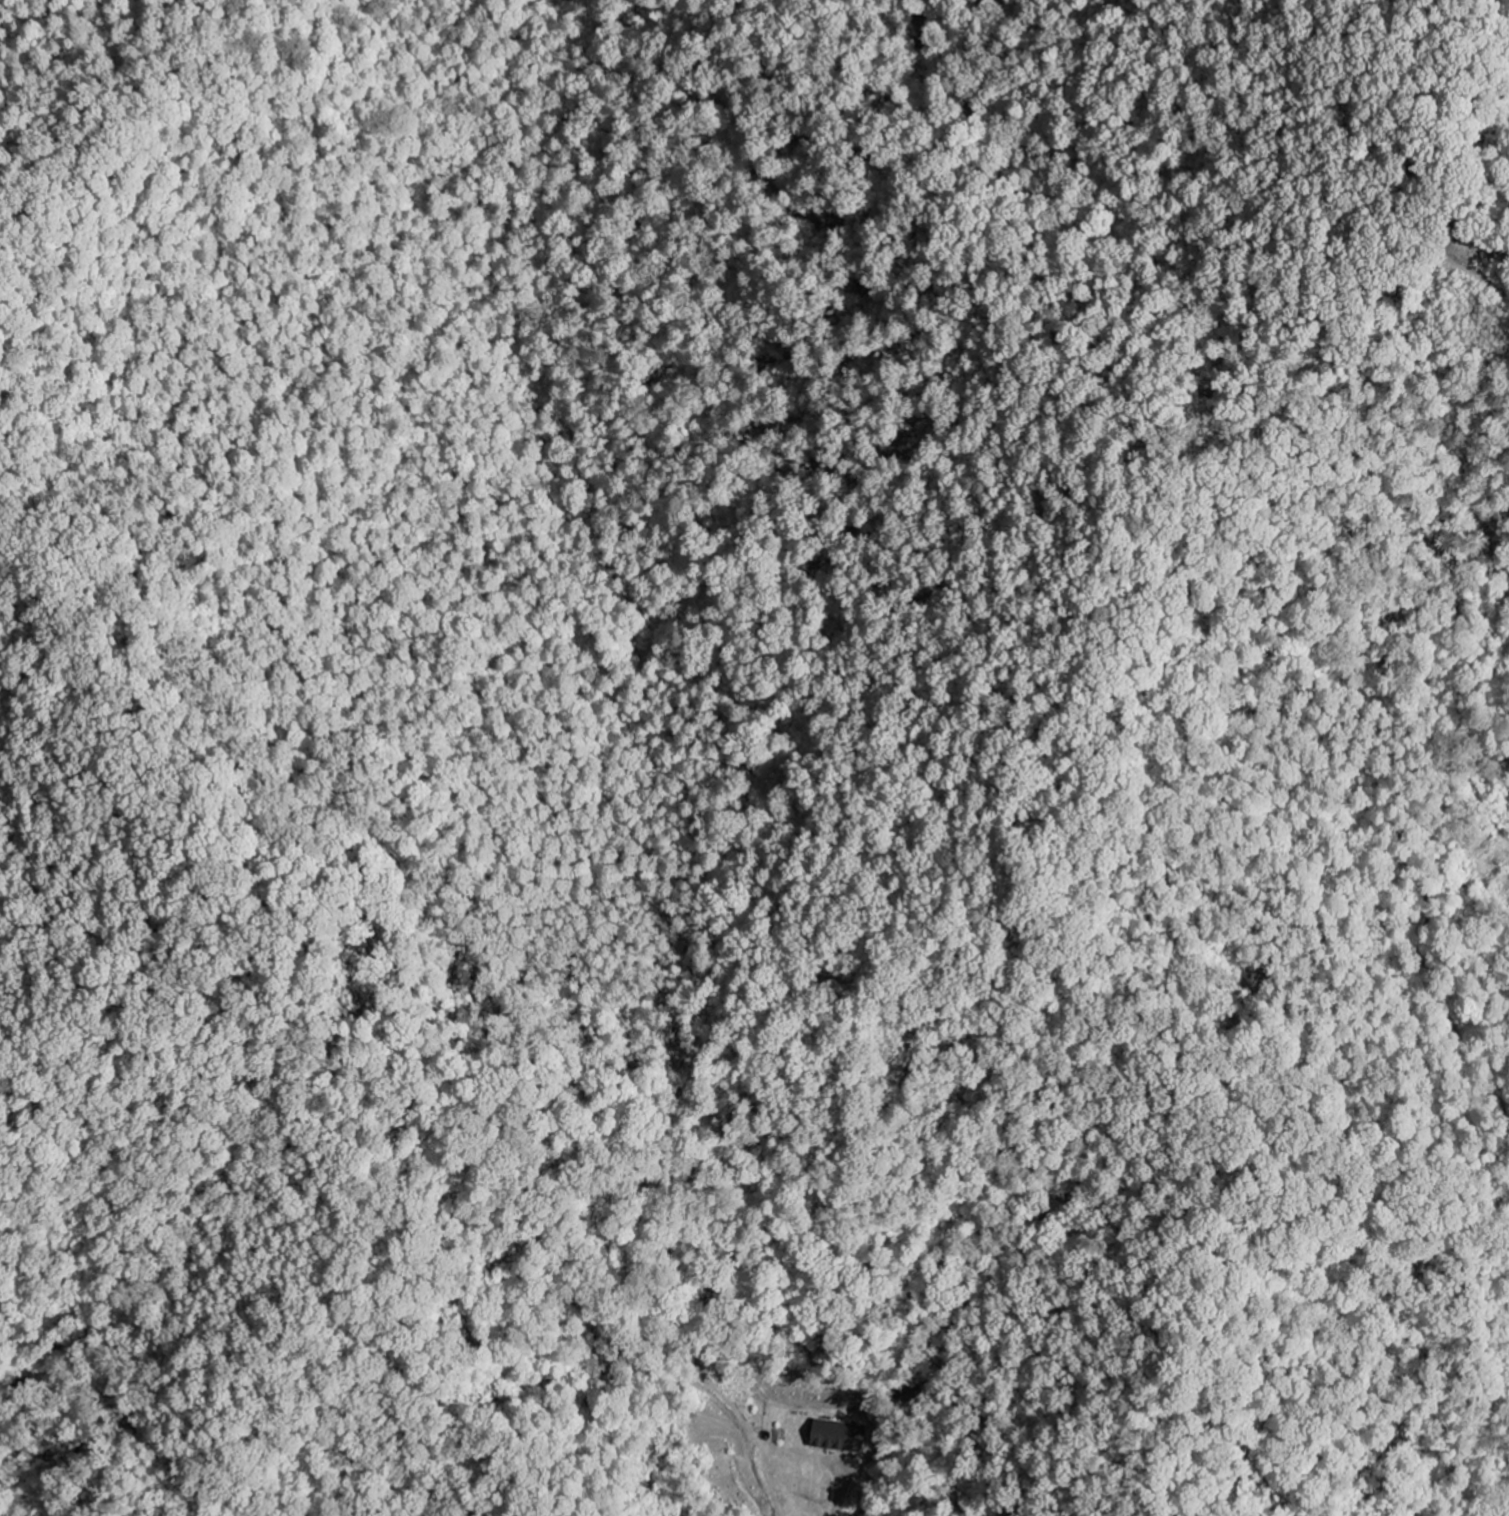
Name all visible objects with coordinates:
building: (838, 1436)

